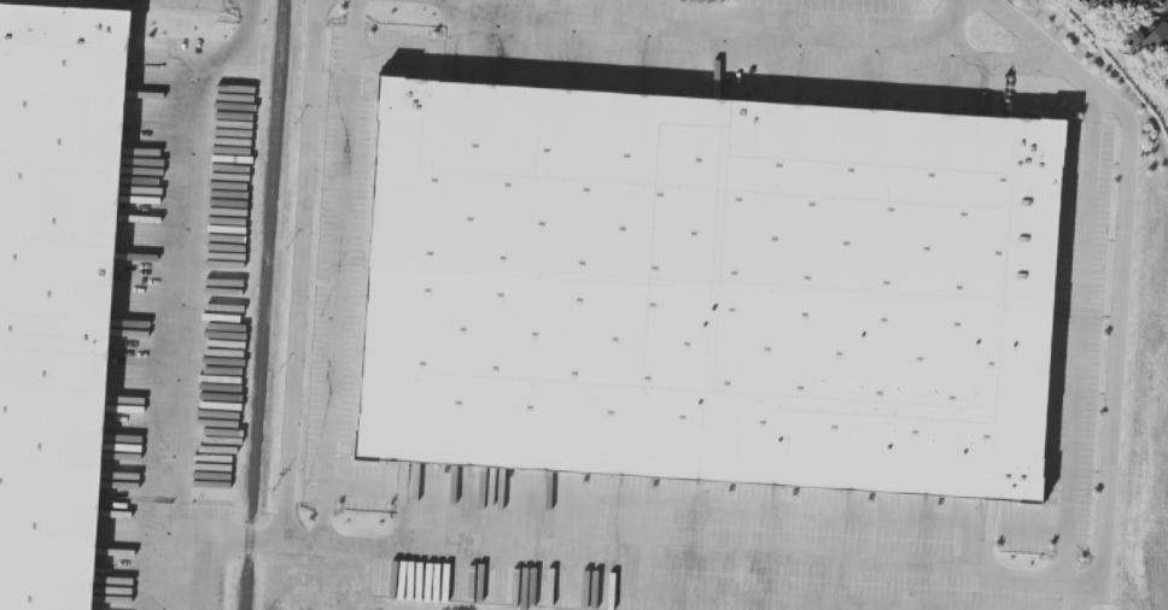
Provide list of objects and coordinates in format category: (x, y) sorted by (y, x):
road: (491, 0)
building: (1096, 4)
building: (1145, 4)
road: (251, 12)
road: (508, 28)
building: (1147, 36)
road: (250, 41)
road: (775, 46)
road: (188, 59)
road: (1008, 61)
building: (1166, 87)
road: (194, 262)
road: (1122, 268)
road: (302, 270)
road: (339, 271)
building: (706, 291)
building: (54, 293)
railway: (264, 304)
road: (1080, 338)
road: (779, 510)
road: (1020, 528)
road: (395, 550)
road: (793, 556)
road: (179, 557)
road: (1026, 581)
road: (1081, 596)
road: (740, 597)

